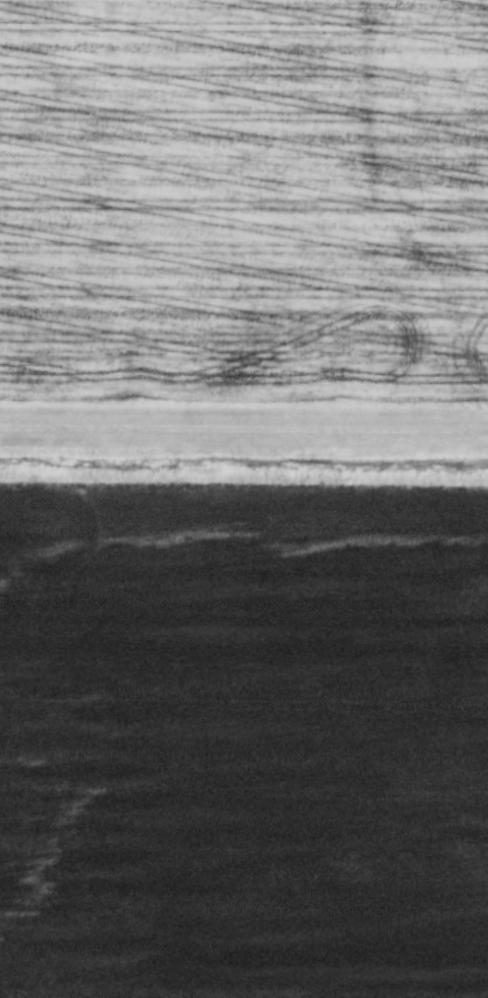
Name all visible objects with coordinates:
crop: (244, 202)
road: (244, 422)
crop: (243, 737)

